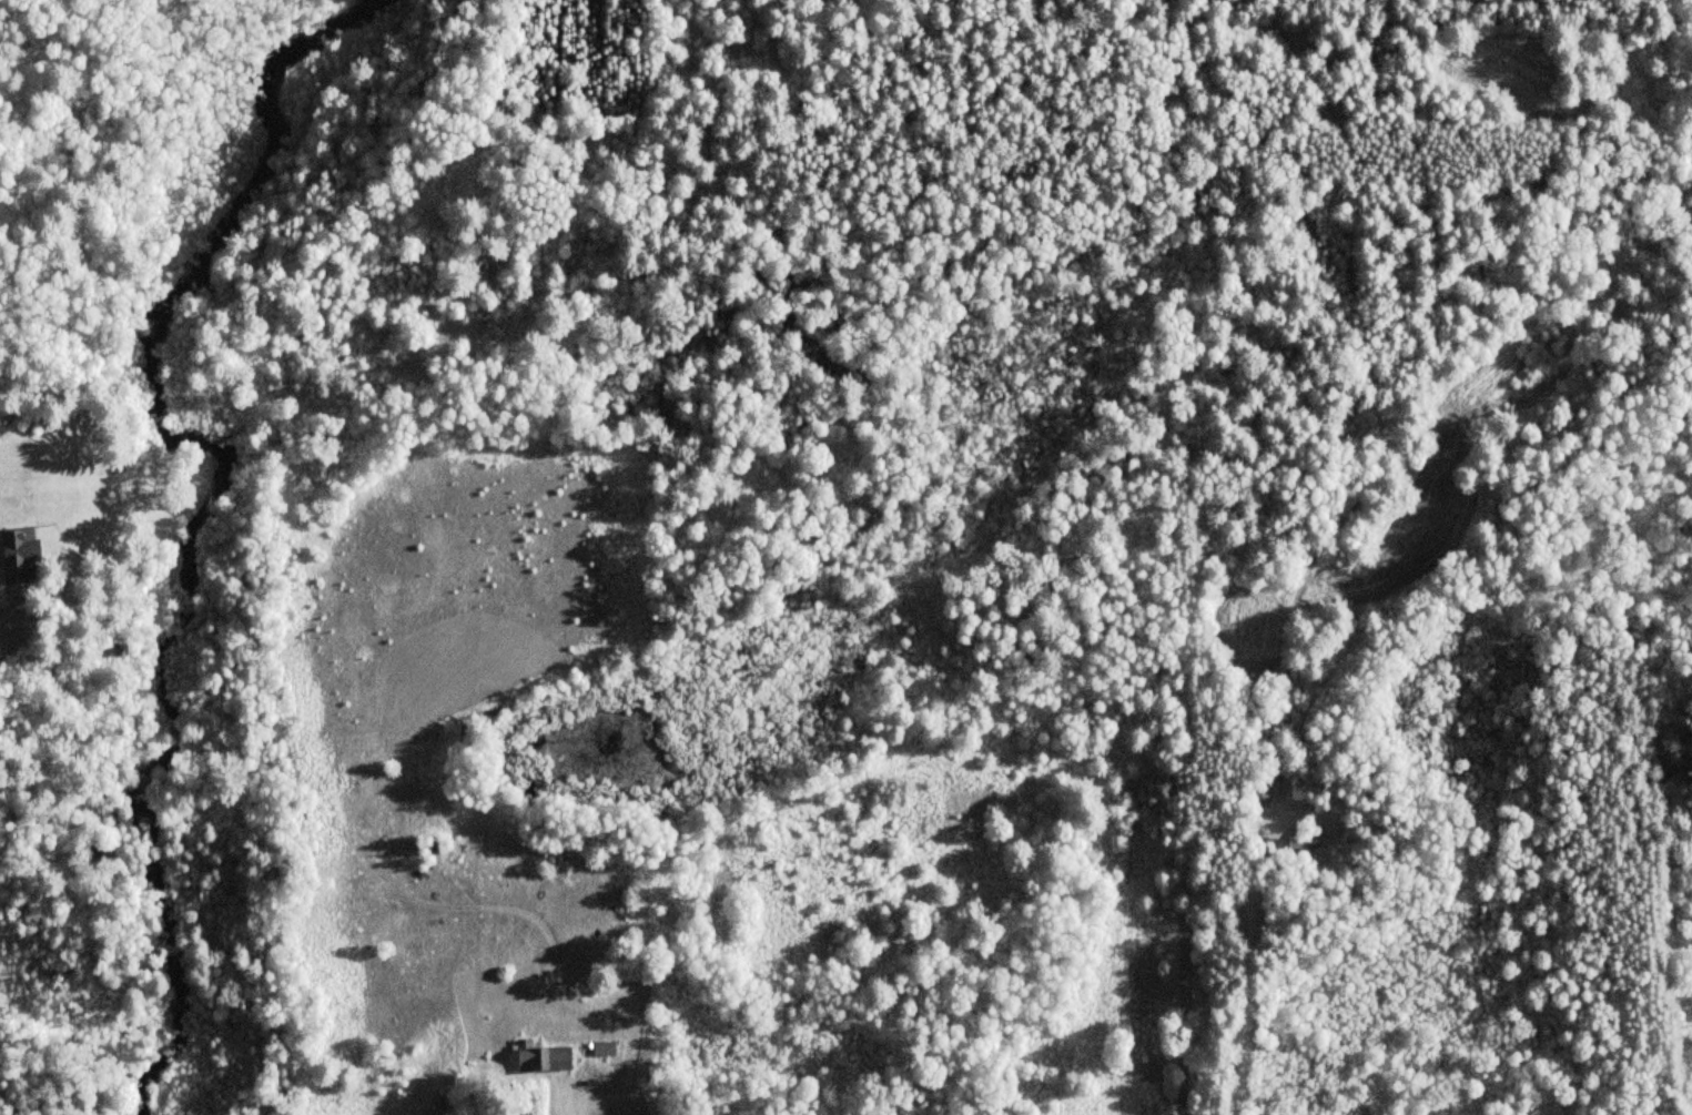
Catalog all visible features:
river: (215, 499)
building: (18, 555)
building: (1264, 787)
building: (1301, 841)
building: (541, 1057)

